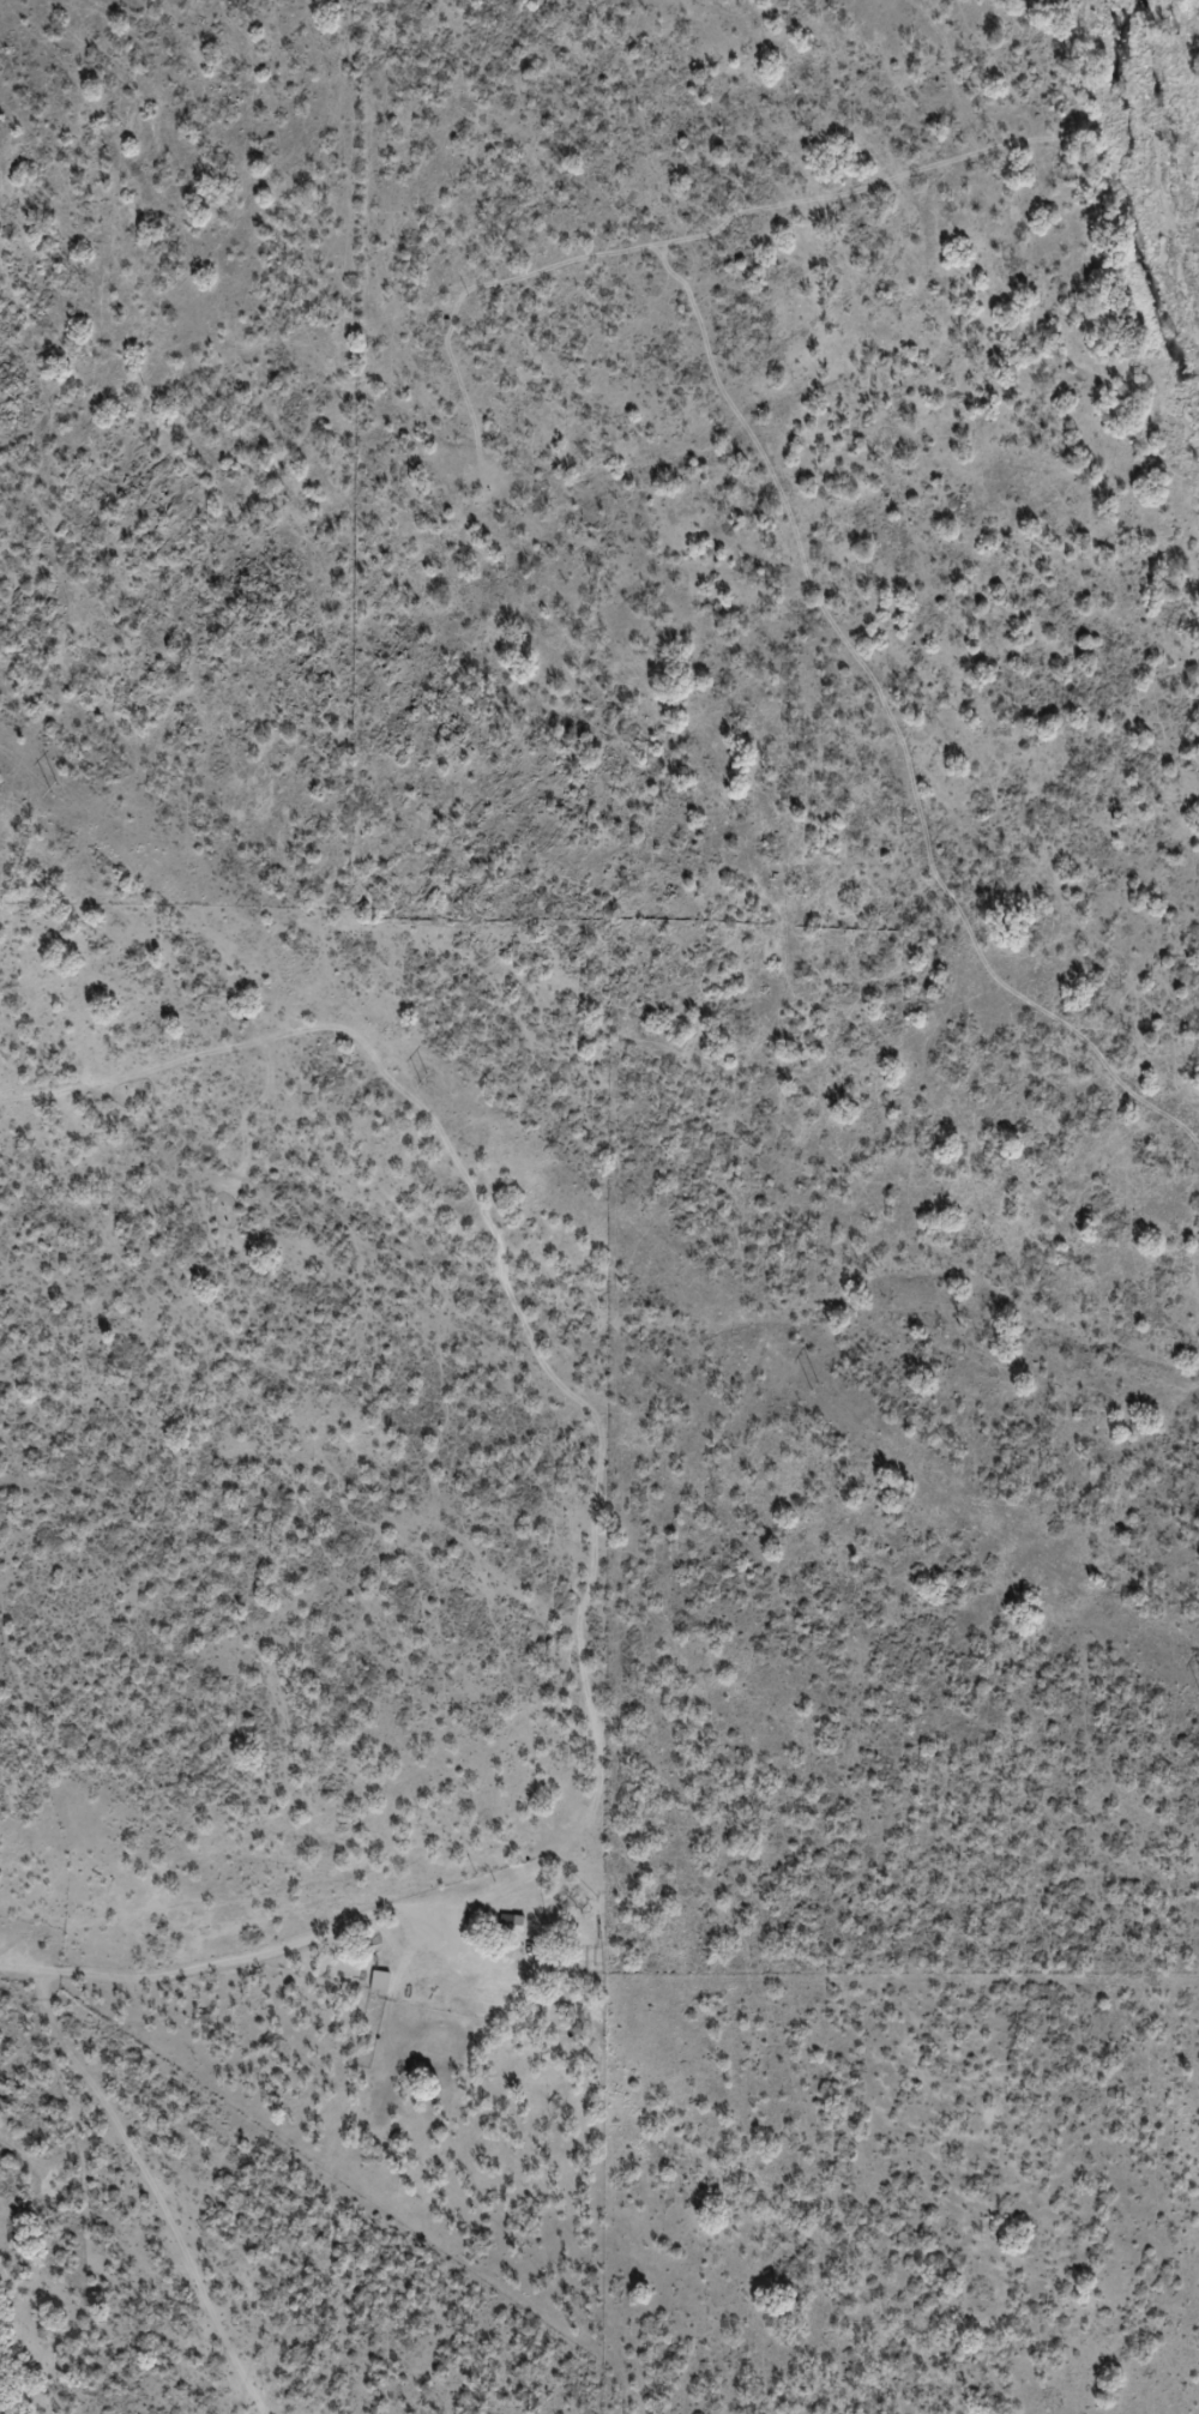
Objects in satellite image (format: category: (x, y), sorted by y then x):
power tower: (53, 789)
power tower: (427, 1076)
road: (399, 1262)
power tower: (821, 1387)
road: (595, 1853)
building: (512, 1925)
road: (143, 2192)

